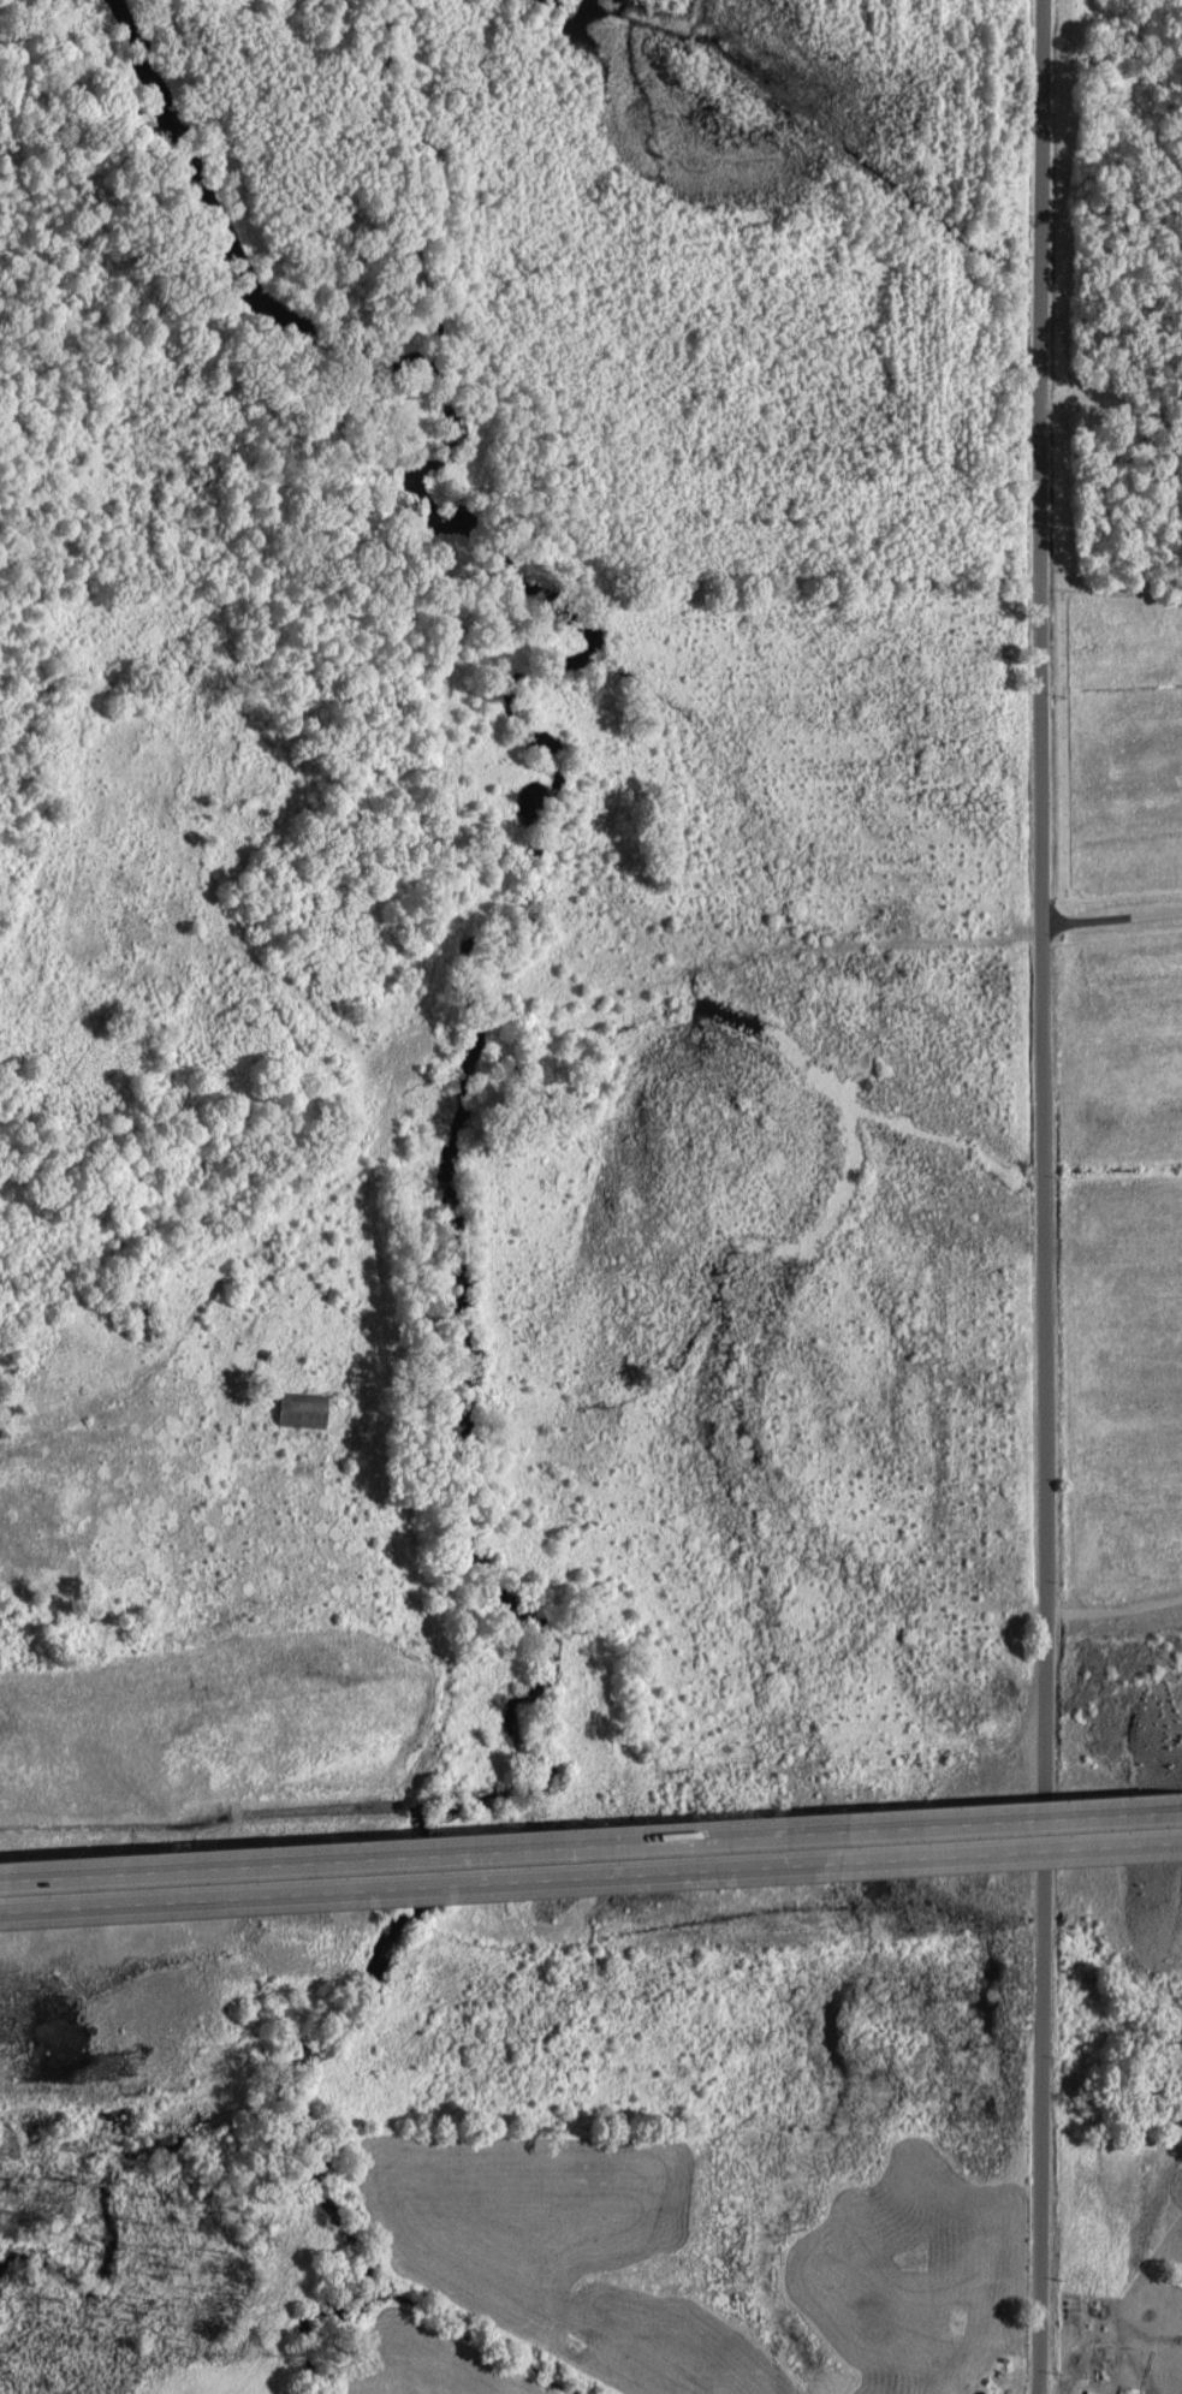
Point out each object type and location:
road: (1110, 405)
road: (1043, 1196)
building: (302, 1409)
road: (1113, 1617)
road: (590, 1844)
road: (590, 1876)
building: (1093, 2392)

